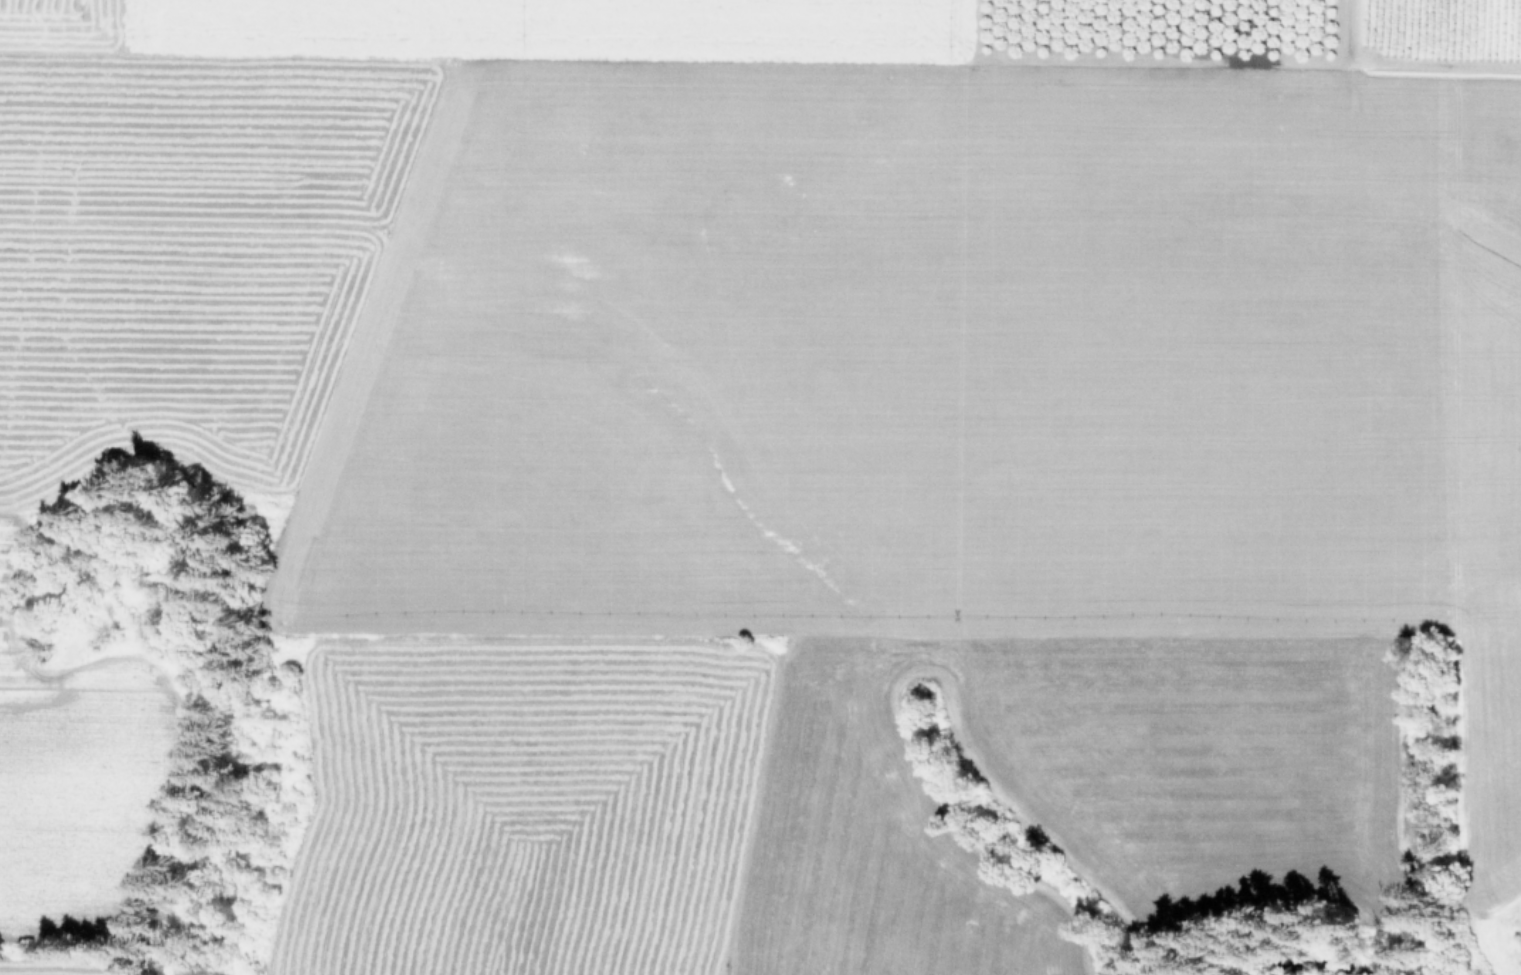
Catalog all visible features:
crop: (772, 468)

